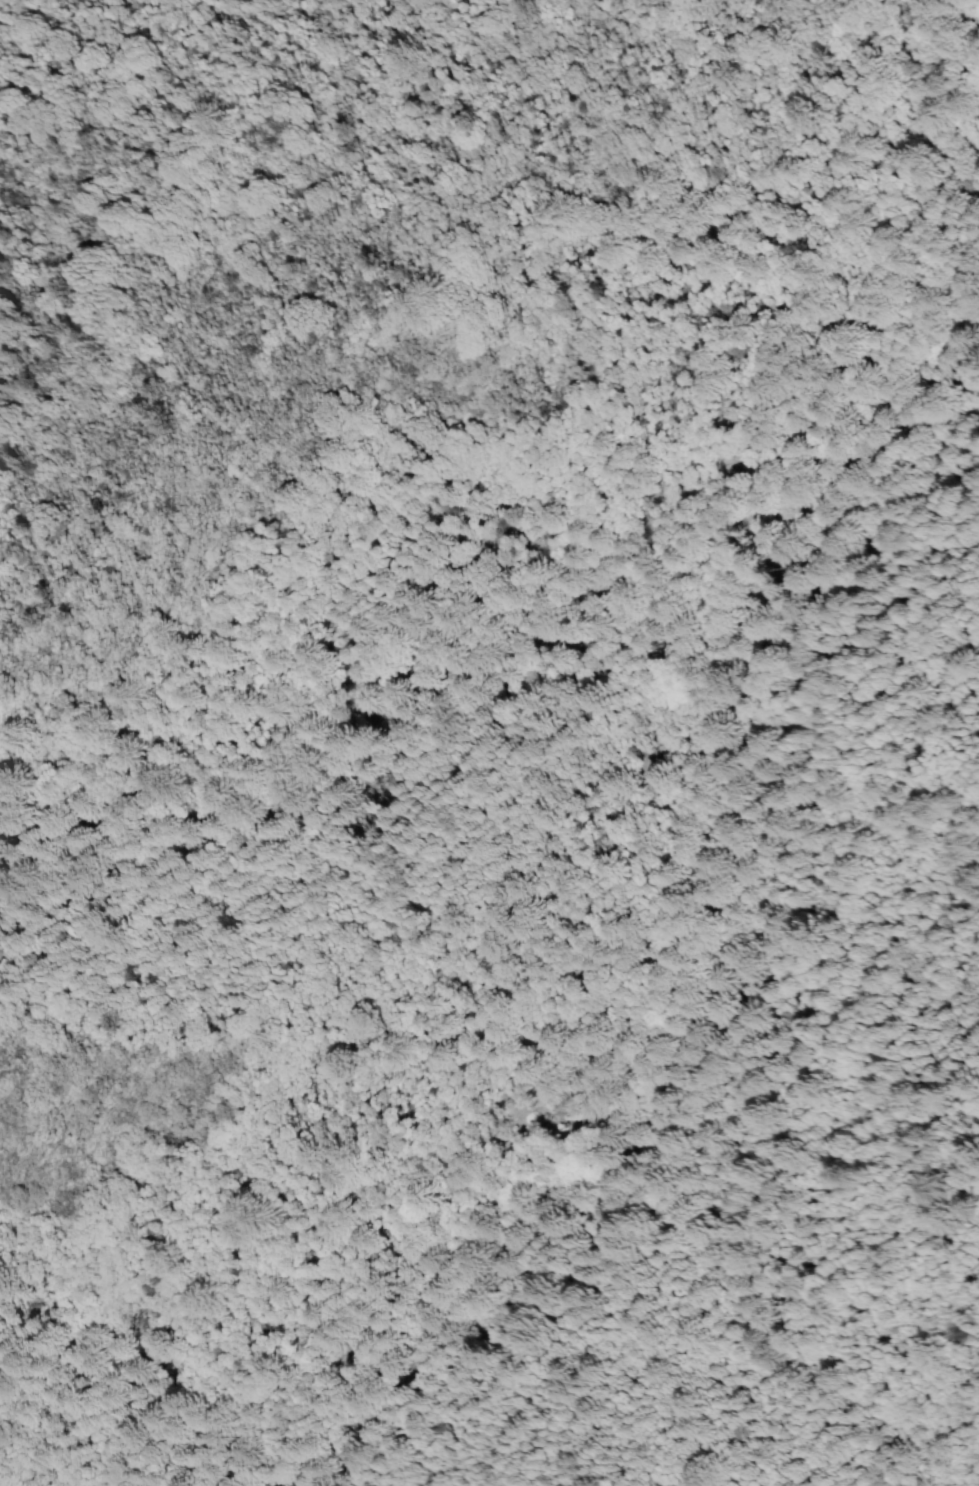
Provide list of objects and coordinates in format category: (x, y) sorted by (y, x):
road: (966, 48)

